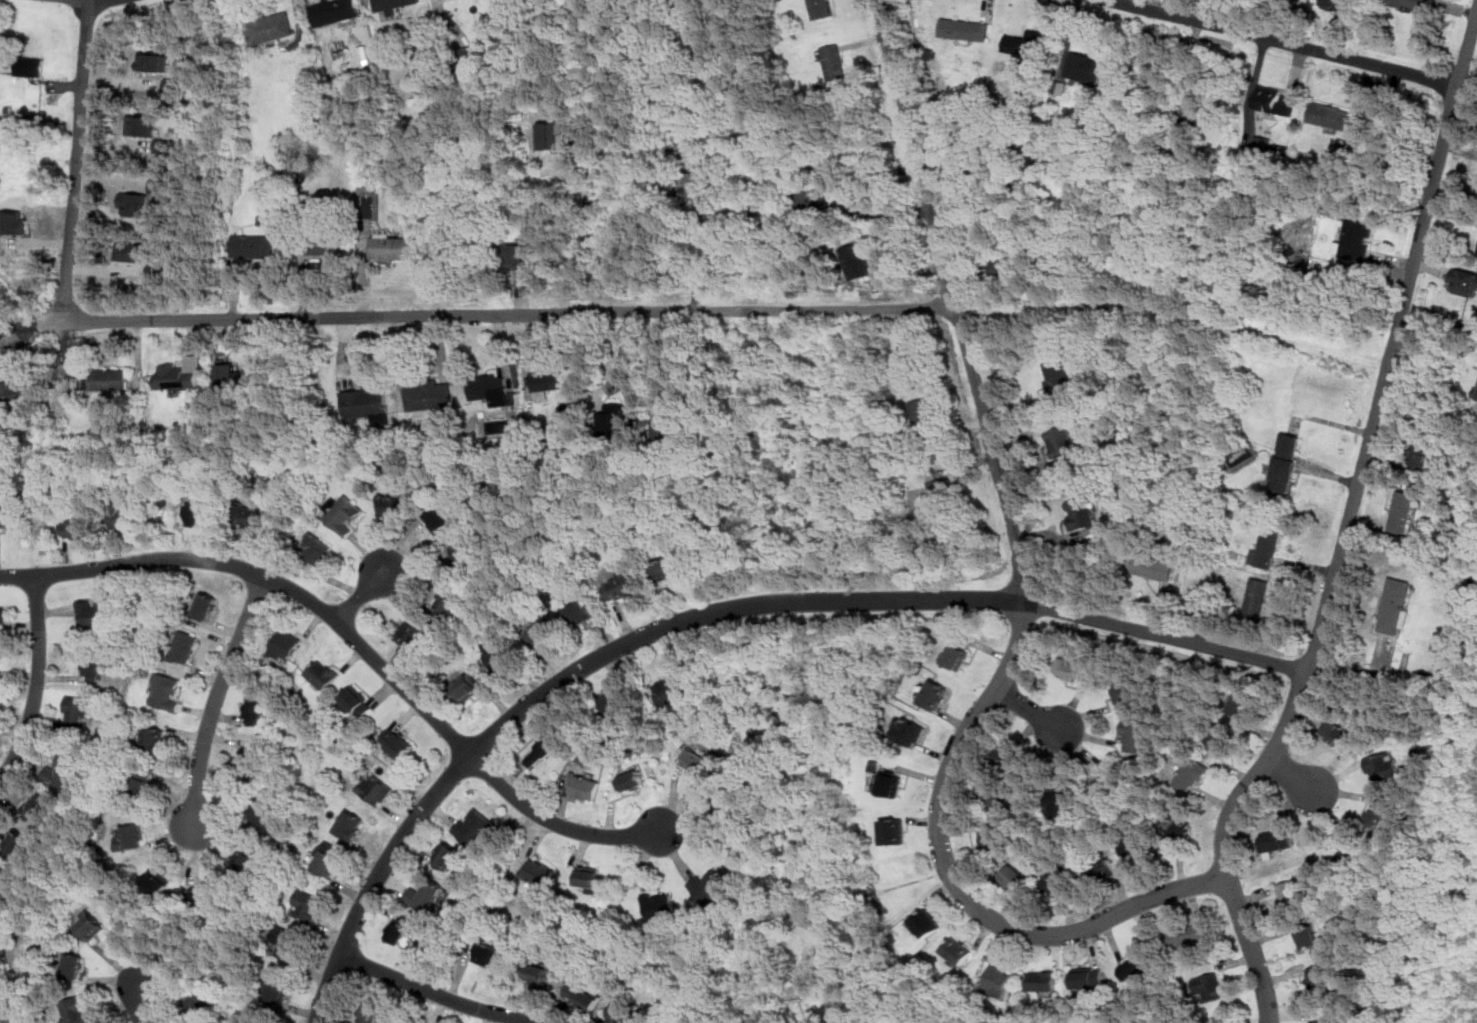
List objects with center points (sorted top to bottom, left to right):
building: (394, 4)
building: (1334, 4)
building: (1411, 4)
building: (819, 8)
building: (334, 11)
building: (519, 24)
building: (271, 27)
building: (965, 30)
building: (1026, 42)
road: (1286, 42)
building: (473, 53)
building: (153, 61)
building: (834, 61)
building: (30, 66)
building: (1086, 66)
building: (172, 85)
building: (1276, 100)
building: (1195, 114)
building: (1330, 115)
building: (142, 125)
building: (549, 136)
building: (1262, 143)
building: (163, 145)
building: (1027, 152)
road: (77, 161)
road: (964, 167)
building: (699, 185)
building: (370, 188)
building: (812, 197)
building: (134, 203)
building: (752, 210)
road: (897, 215)
building: (15, 222)
road: (577, 227)
building: (1357, 238)
building: (1, 243)
building: (253, 244)
building: (320, 245)
building: (392, 245)
building: (131, 251)
building: (519, 254)
building: (858, 259)
road: (698, 263)
building: (1004, 267)
building: (1464, 281)
road: (479, 313)
road: (1436, 350)
building: (228, 374)
building: (176, 376)
building: (1059, 378)
building: (107, 379)
building: (551, 379)
building: (491, 389)
building: (13, 392)
building: (1475, 393)
building: (430, 395)
building: (368, 403)
building: (615, 416)
building: (924, 417)
building: (665, 426)
building: (1061, 441)
building: (1419, 454)
building: (1286, 463)
building: (941, 488)
building: (394, 506)
building: (1403, 511)
building: (1080, 512)
building: (203, 514)
building: (343, 514)
building: (9, 515)
building: (251, 515)
building: (123, 516)
building: (440, 520)
building: (77, 529)
road: (1347, 529)
building: (1266, 548)
building: (317, 550)
building: (462, 555)
building: (1153, 566)
building: (668, 568)
road: (267, 577)
building: (1215, 587)
building: (622, 588)
road: (362, 595)
road: (1026, 595)
building: (1256, 598)
building: (448, 601)
building: (1397, 606)
building: (206, 607)
building: (581, 611)
road: (717, 611)
building: (97, 612)
building: (3, 618)
building: (412, 631)
building: (542, 631)
building: (287, 645)
building: (185, 646)
building: (958, 655)
building: (500, 656)
building: (95, 666)
building: (1071, 669)
building: (324, 673)
road: (36, 683)
building: (469, 686)
building: (1128, 689)
building: (168, 690)
building: (674, 691)
building: (935, 694)
road: (216, 697)
building: (357, 700)
building: (615, 702)
building: (1242, 703)
road: (1028, 709)
building: (77, 710)
building: (257, 711)
building: (909, 731)
building: (1339, 732)
building: (1136, 734)
building: (155, 738)
building: (1221, 738)
building: (399, 743)
building: (543, 750)
building: (1006, 756)
building: (251, 758)
building: (697, 760)
building: (1382, 765)
building: (65, 771)
building: (1103, 771)
building: (1192, 772)
road: (1291, 777)
building: (631, 780)
building: (143, 781)
building: (1108, 783)
building: (891, 784)
building: (585, 786)
building: (376, 788)
building: (999, 795)
building: (1066, 798)
building: (38, 807)
building: (261, 813)
building: (1377, 818)
road: (555, 822)
building: (1176, 822)
building: (352, 824)
building: (475, 827)
building: (894, 830)
building: (131, 836)
building: (993, 836)
building: (1277, 840)
building: (15, 843)
building: (1136, 847)
building: (1349, 849)
building: (447, 855)
building: (327, 862)
building: (243, 863)
road: (752, 867)
building: (1100, 868)
building: (539, 872)
building: (589, 877)
building: (1014, 878)
building: (2, 879)
building: (1056, 881)
building: (158, 883)
building: (710, 887)
building: (1291, 892)
building: (204, 894)
building: (427, 895)
road: (874, 896)
building: (308, 905)
building: (659, 906)
building: (926, 922)
building: (90, 926)
building: (400, 929)
building: (1190, 932)
road: (821, 934)
building: (1308, 937)
park: (835, 938)
building: (287, 941)
building: (959, 948)
building: (489, 954)
building: (74, 964)
building: (1137, 965)
building: (537, 972)
building: (1088, 976)
building: (1318, 978)
building: (998, 980)
building: (1043, 981)
building: (1210, 985)
building: (277, 989)
road: (432, 993)
building: (583, 996)
road: (12, 999)
building: (201, 1002)
road: (142, 1005)
building: (78, 1011)
road: (5, 1012)
building: (370, 1012)
building: (621, 1014)
building: (1322, 1020)

